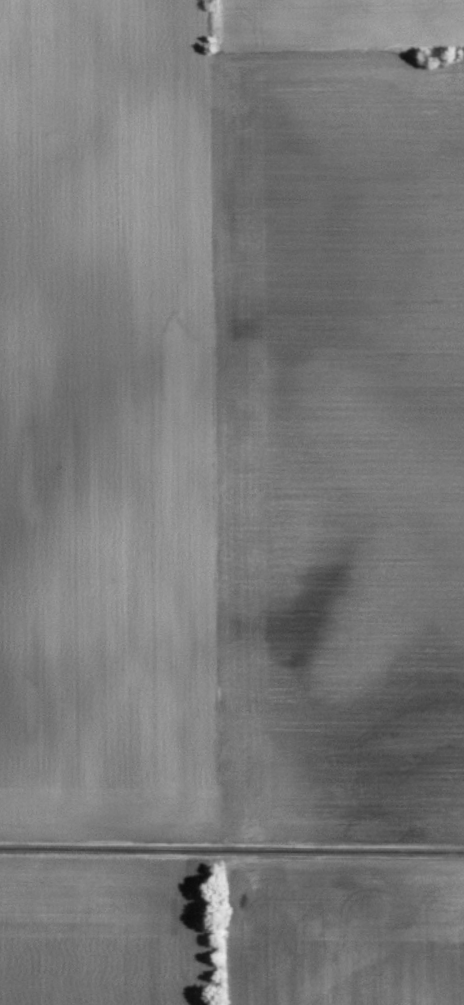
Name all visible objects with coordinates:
road: (231, 850)

